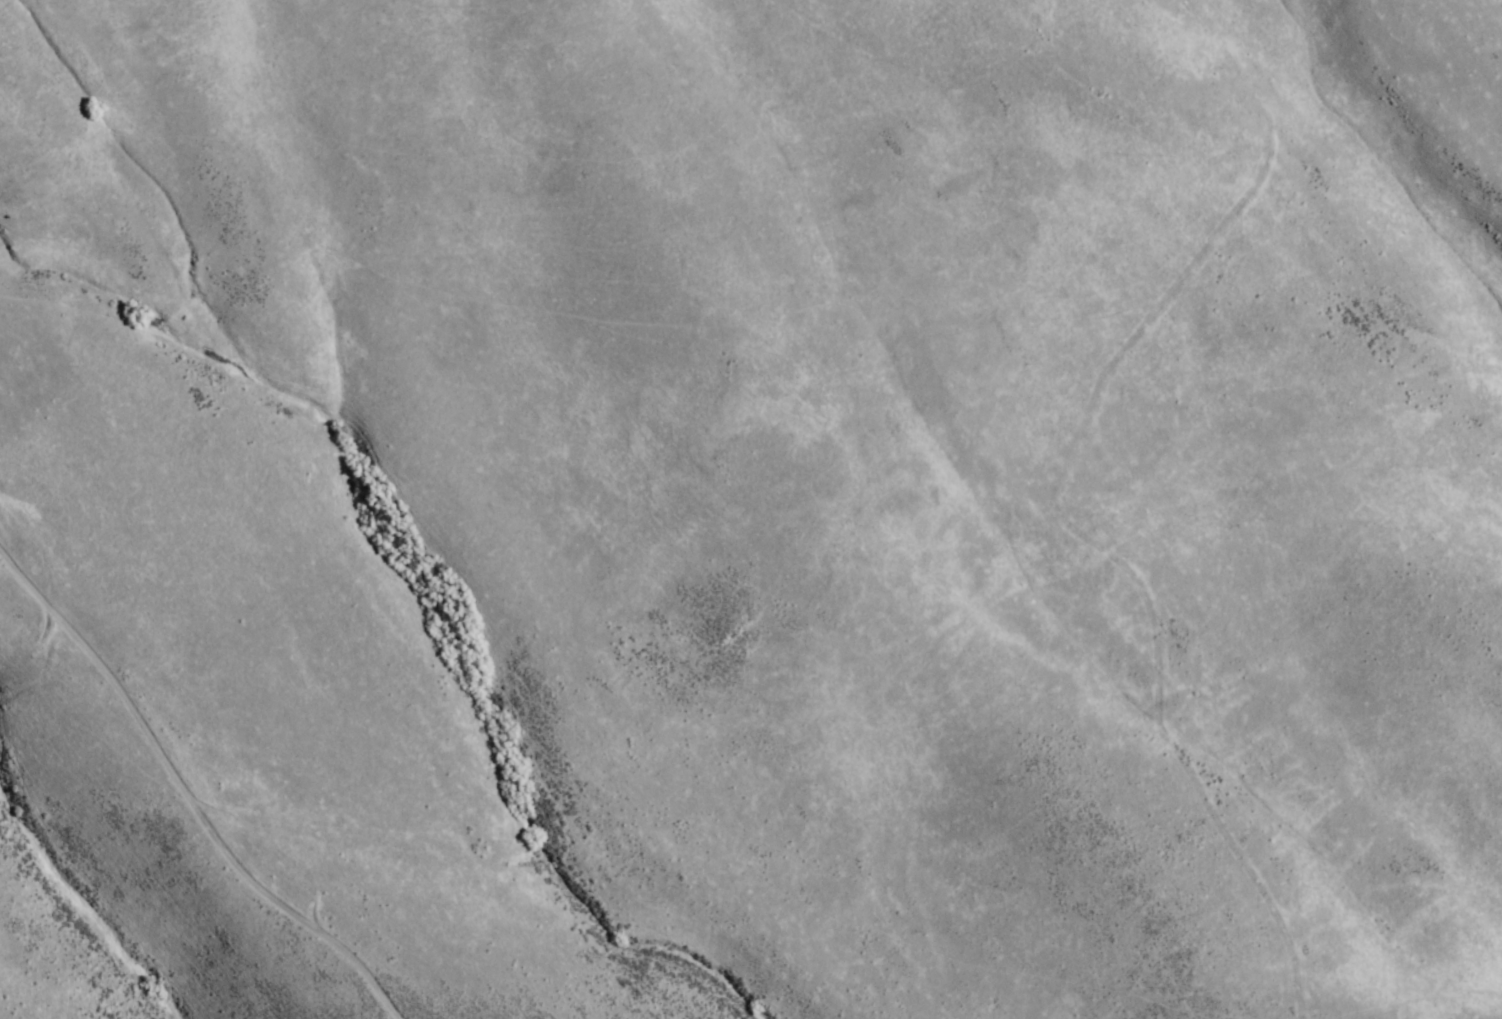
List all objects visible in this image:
road: (190, 796)

